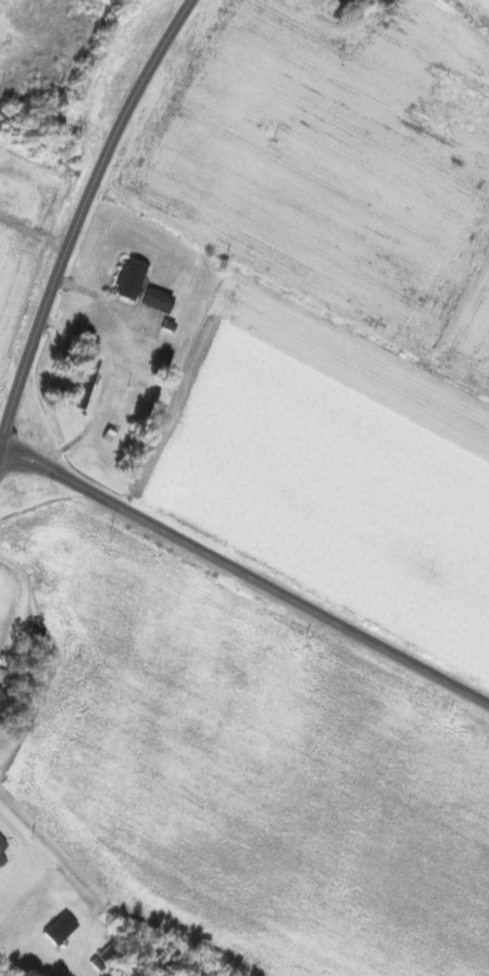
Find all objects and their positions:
road: (77, 220)
building: (128, 278)
building: (157, 299)
building: (80, 381)
road: (247, 572)
building: (2, 676)
building: (2, 843)
building: (59, 928)

